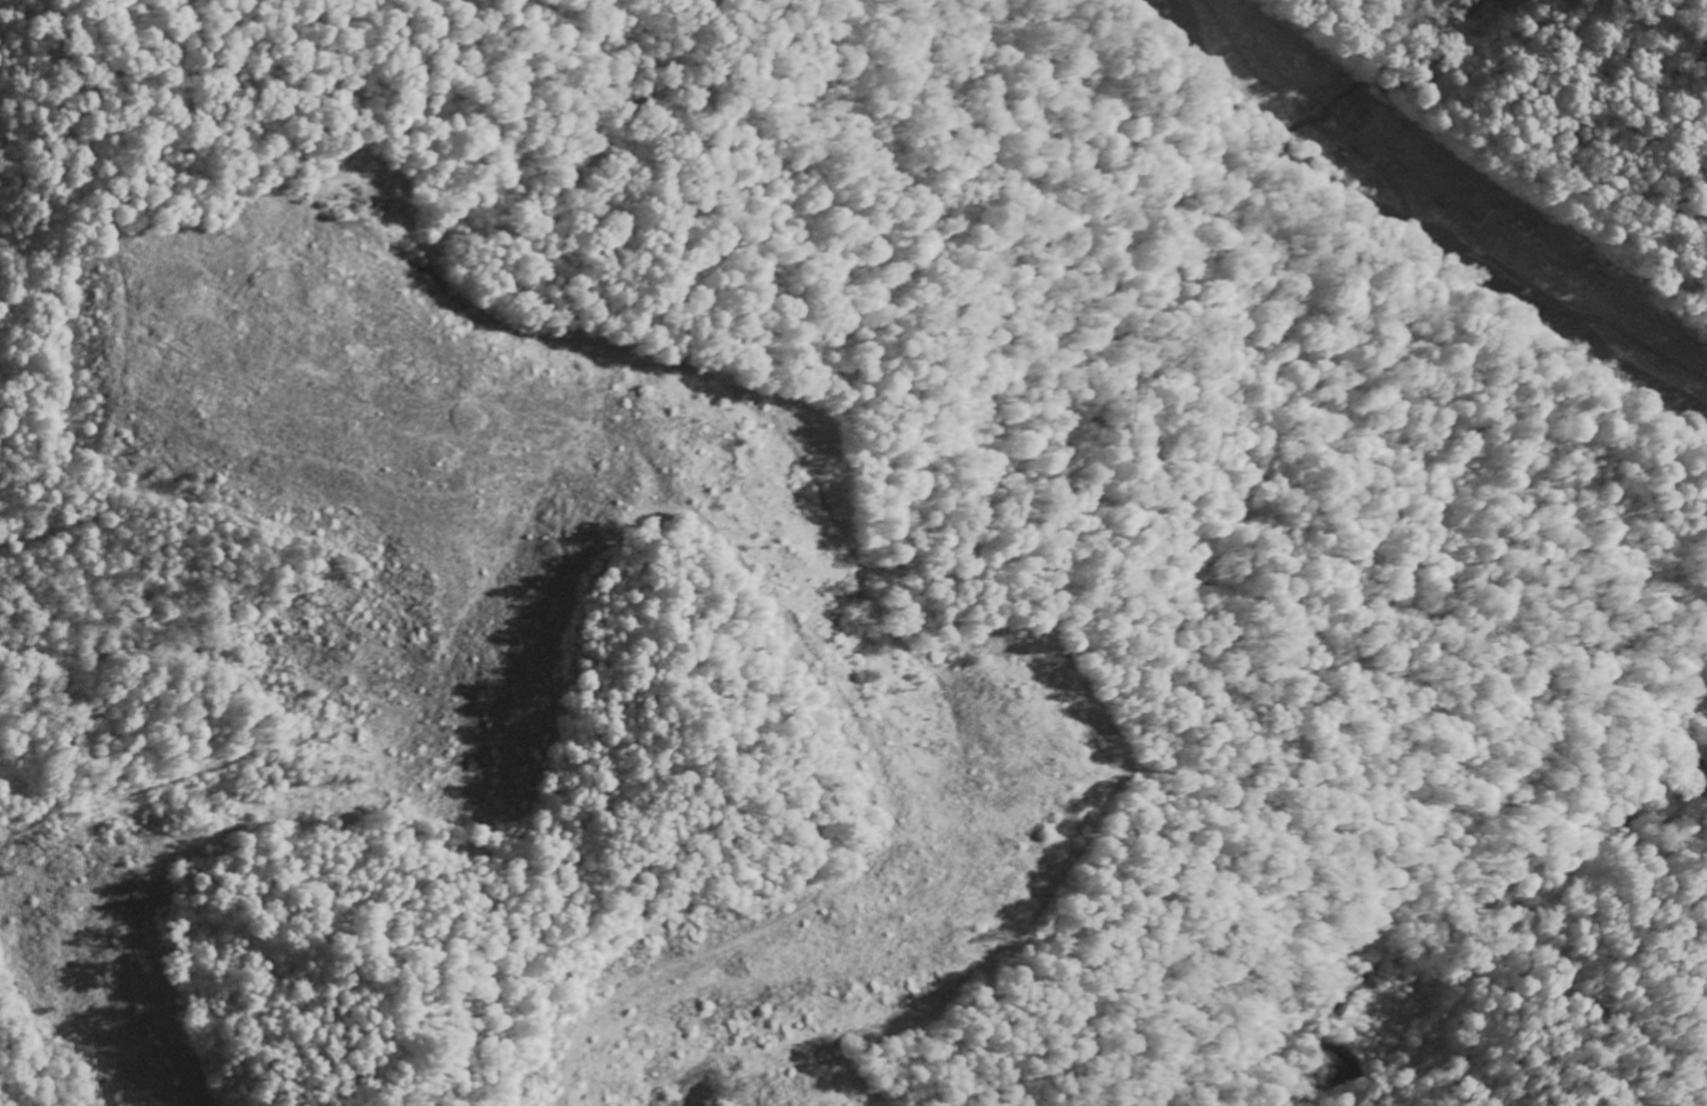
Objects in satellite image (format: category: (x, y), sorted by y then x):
power tower: (1480, 209)

